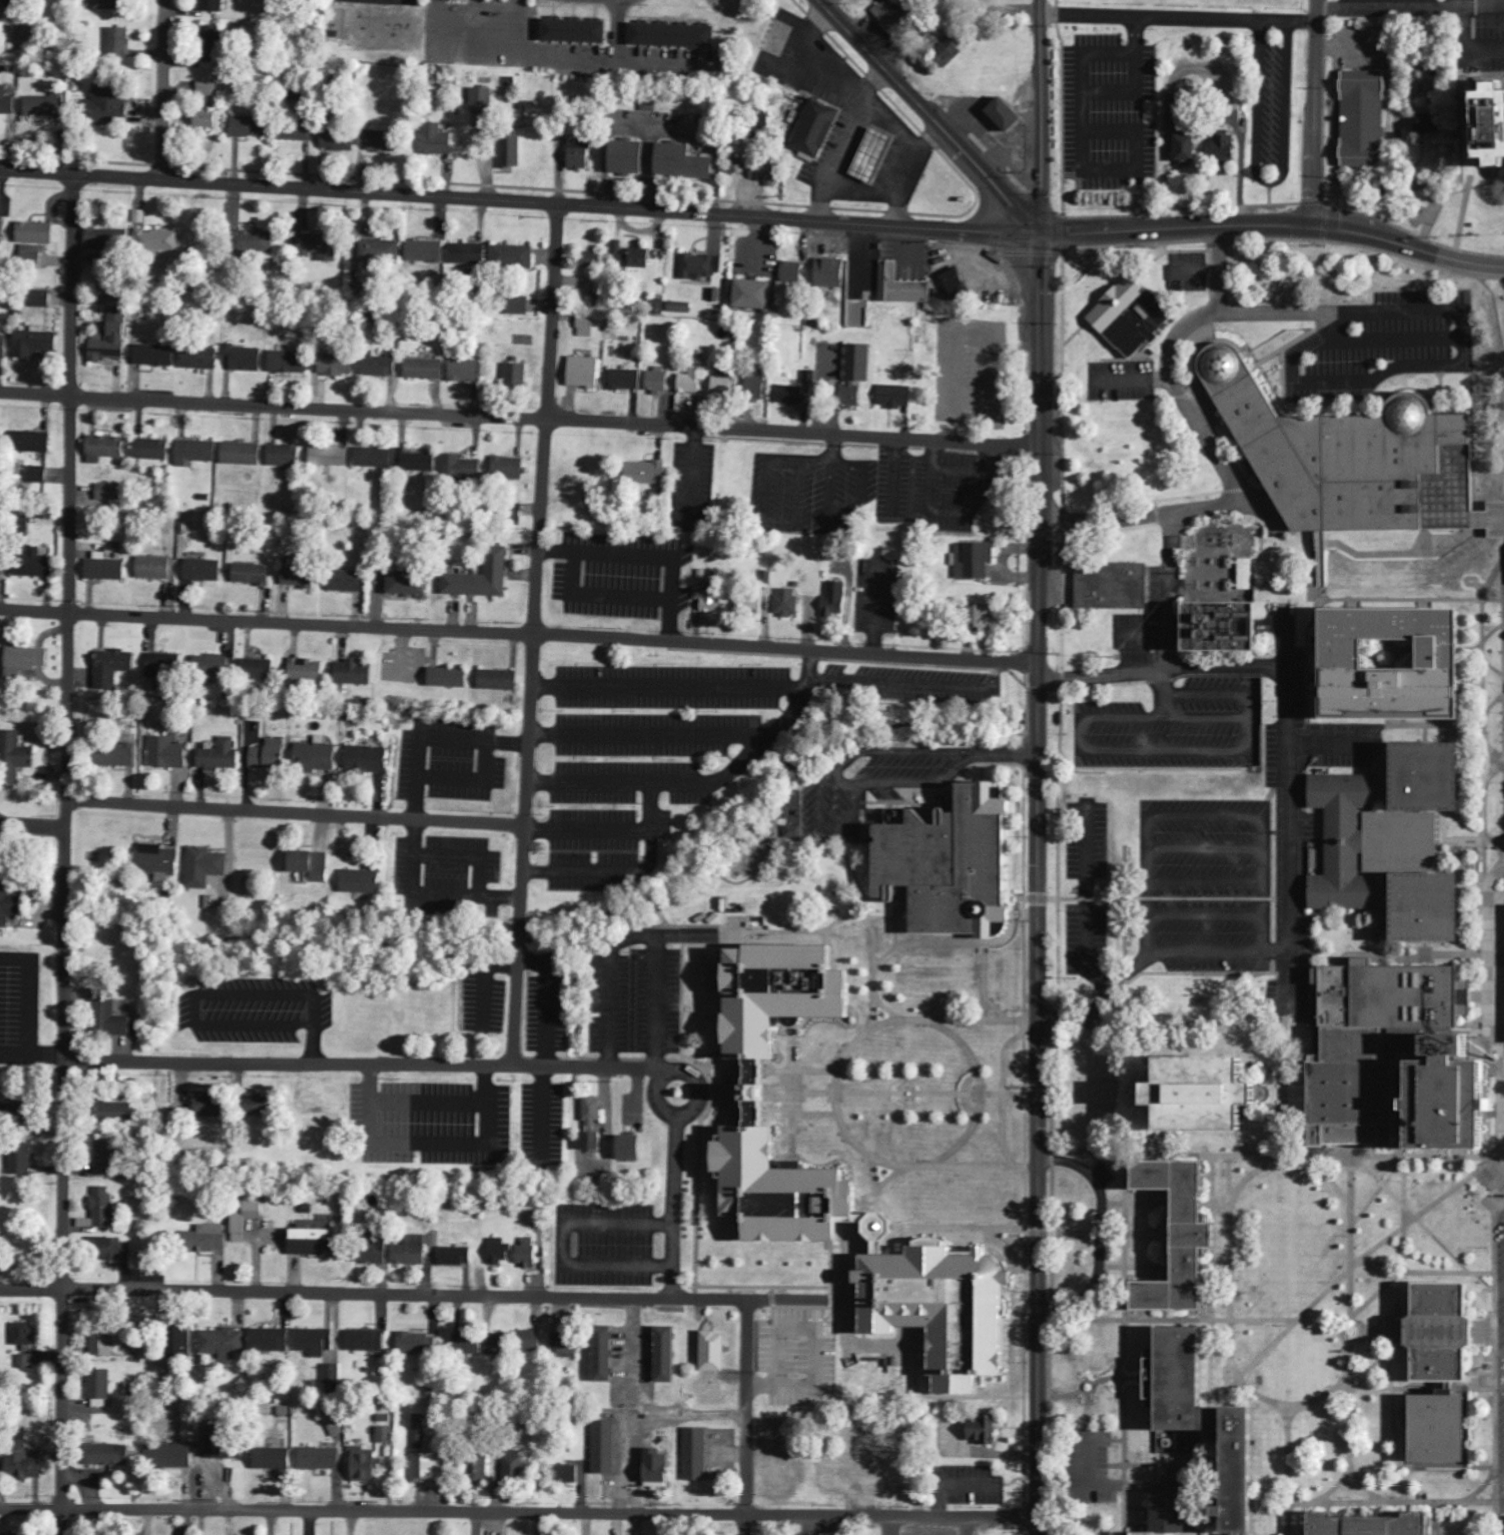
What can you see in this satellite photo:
park: (1279, 1)
building: (111, 5)
building: (212, 6)
road: (1409, 10)
building: (895, 18)
road: (1177, 18)
building: (576, 32)
building: (675, 36)
building: (23, 38)
building: (121, 43)
building: (212, 45)
road: (1457, 49)
building: (950, 50)
building: (207, 89)
road: (163, 91)
building: (482, 101)
building: (6, 102)
building: (45, 106)
building: (109, 106)
building: (1182, 110)
building: (1007, 113)
road: (1312, 114)
road: (928, 116)
road: (1039, 116)
building: (207, 119)
building: (1365, 119)
building: (1430, 123)
building: (1490, 124)
building: (250, 127)
building: (816, 129)
building: (297, 132)
building: (344, 141)
building: (384, 141)
building: (435, 141)
building: (1225, 146)
building: (1189, 150)
building: (511, 152)
building: (580, 152)
building: (874, 155)
building: (629, 157)
building: (684, 162)
building: (738, 165)
building: (766, 173)
road: (519, 202)
road: (1273, 227)
building: (34, 231)
building: (2, 232)
traffic signals: (1038, 233)
building: (108, 239)
building: (158, 240)
building: (257, 242)
building: (320, 246)
building: (380, 251)
building: (425, 252)
building: (32, 254)
building: (469, 254)
building: (632, 256)
building: (514, 257)
building: (590, 259)
building: (700, 267)
building: (791, 272)
building: (830, 273)
building: (957, 285)
building: (902, 287)
building: (755, 294)
building: (43, 298)
building: (593, 300)
building: (518, 304)
building: (680, 308)
building: (1134, 315)
building: (585, 326)
building: (112, 337)
building: (4, 347)
building: (24, 347)
building: (156, 355)
building: (201, 358)
building: (244, 358)
building: (289, 362)
building: (337, 364)
building: (379, 366)
building: (425, 369)
building: (466, 371)
building: (584, 372)
building: (856, 374)
building: (516, 375)
building: (694, 376)
building: (626, 379)
building: (658, 380)
building: (725, 384)
building: (754, 388)
building: (789, 395)
building: (895, 396)
road: (520, 417)
building: (1, 442)
building: (33, 442)
building: (110, 446)
building: (153, 449)
building: (196, 452)
building: (235, 452)
building: (285, 455)
building: (330, 457)
building: (374, 457)
building: (1355, 457)
building: (416, 460)
building: (460, 468)
building: (509, 468)
building: (647, 473)
building: (39, 475)
building: (109, 492)
building: (1, 557)
building: (973, 560)
power substation: (1225, 561)
building: (35, 564)
building: (157, 568)
building: (107, 569)
building: (204, 570)
building: (253, 574)
building: (299, 574)
building: (1243, 575)
building: (482, 578)
building: (346, 581)
building: (409, 583)
building: (1114, 586)
building: (698, 593)
building: (838, 599)
building: (787, 602)
building: (712, 603)
building: (751, 607)
building: (981, 619)
building: (1224, 628)
road: (518, 633)
road: (534, 635)
building: (25, 661)
building: (1400, 664)
building: (213, 666)
building: (113, 667)
building: (165, 669)
building: (259, 670)
building: (307, 670)
building: (351, 671)
building: (449, 678)
building: (499, 680)
building: (167, 752)
building: (116, 755)
building: (220, 756)
building: (270, 756)
building: (15, 757)
building: (316, 757)
building: (367, 760)
road: (296, 812)
road: (33, 827)
building: (794, 832)
building: (1399, 841)
road: (67, 855)
building: (159, 862)
building: (953, 864)
building: (312, 865)
building: (204, 867)
building: (361, 882)
road: (1035, 883)
road: (1031, 896)
road: (1155, 896)
road: (1021, 897)
building: (7, 905)
road: (1488, 1010)
building: (111, 1020)
road: (962, 1020)
road: (1018, 1031)
road: (1021, 1031)
road: (1373, 1040)
park: (1388, 1044)
road: (371, 1065)
road: (799, 1069)
road: (1097, 1080)
road: (787, 1090)
road: (800, 1092)
road: (906, 1092)
road: (1000, 1092)
road: (656, 1093)
building: (1222, 1097)
road: (999, 1101)
road: (1031, 1105)
building: (209, 1106)
building: (258, 1106)
building: (15, 1109)
building: (116, 1111)
building: (592, 1112)
road: (800, 1112)
building: (1420, 1135)
road: (1053, 1136)
building: (592, 1142)
building: (633, 1150)
road: (865, 1153)
road: (1300, 1153)
building: (111, 1159)
building: (21, 1160)
road: (975, 1161)
road: (1295, 1164)
building: (847, 1182)
road: (1120, 1186)
road: (1377, 1188)
road: (675, 1206)
road: (1425, 1208)
building: (101, 1210)
road: (1405, 1213)
building: (245, 1218)
road: (1423, 1223)
road: (1230, 1235)
building: (1188, 1238)
building: (206, 1240)
building: (312, 1242)
road: (561, 1242)
building: (107, 1249)
building: (410, 1252)
building: (499, 1252)
building: (372, 1253)
building: (526, 1254)
building: (456, 1256)
road: (1378, 1264)
road: (519, 1295)
road: (1378, 1295)
road: (1352, 1310)
road: (1210, 1318)
road: (1296, 1321)
road: (1370, 1331)
building: (1450, 1334)
building: (25, 1336)
building: (103, 1338)
building: (269, 1340)
building: (311, 1341)
building: (366, 1341)
building: (529, 1341)
road: (1055, 1341)
building: (223, 1343)
building: (417, 1344)
building: (467, 1345)
road: (1496, 1346)
building: (496, 1347)
road: (1233, 1350)
building: (714, 1352)
building: (605, 1355)
building: (667, 1356)
building: (25, 1362)
road: (1370, 1372)
road: (1392, 1386)
road: (1423, 1388)
building: (100, 1389)
road: (1325, 1396)
road: (1260, 1397)
road: (744, 1417)
building: (1216, 1420)
building: (192, 1423)
building: (1447, 1429)
building: (981, 1431)
building: (421, 1432)
building: (385, 1435)
road: (1125, 1439)
building: (225, 1447)
building: (604, 1448)
road: (1290, 1453)
building: (108, 1455)
building: (696, 1455)
building: (169, 1457)
building: (273, 1459)
building: (320, 1459)
building: (26, 1465)
building: (364, 1465)
building: (424, 1469)
building: (513, 1469)
building: (478, 1470)
building: (658, 1470)
building: (566, 1474)
road: (1365, 1485)
road: (1337, 1486)
road: (1393, 1501)
building: (1176, 1514)
road: (519, 1515)
road: (1292, 1518)
road: (1434, 1518)
building: (1377, 1526)
building: (11, 1534)

